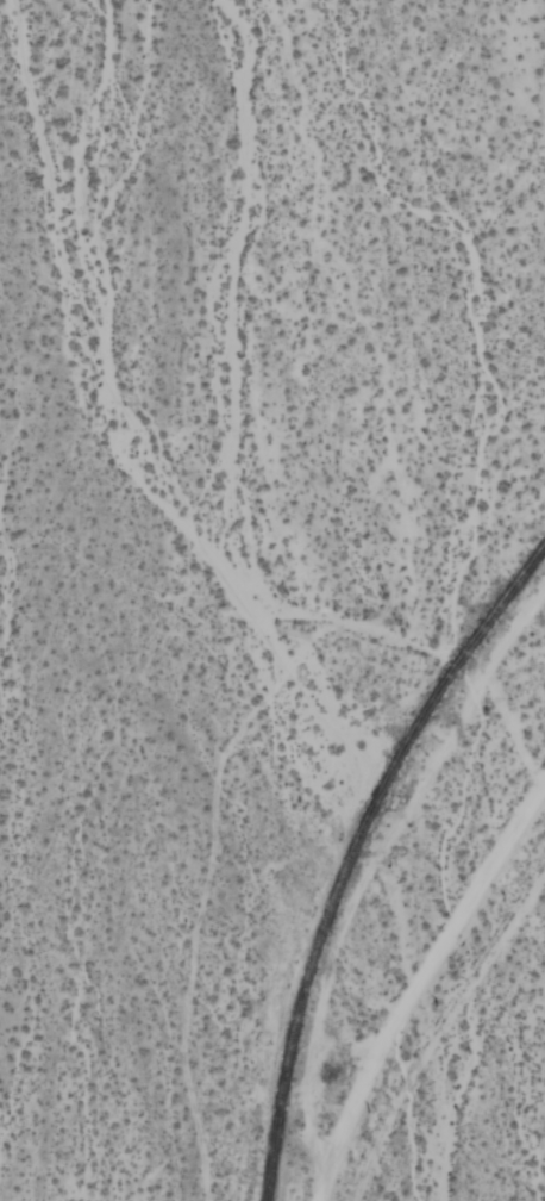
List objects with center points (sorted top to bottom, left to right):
railway: (350, 846)
road: (415, 981)

